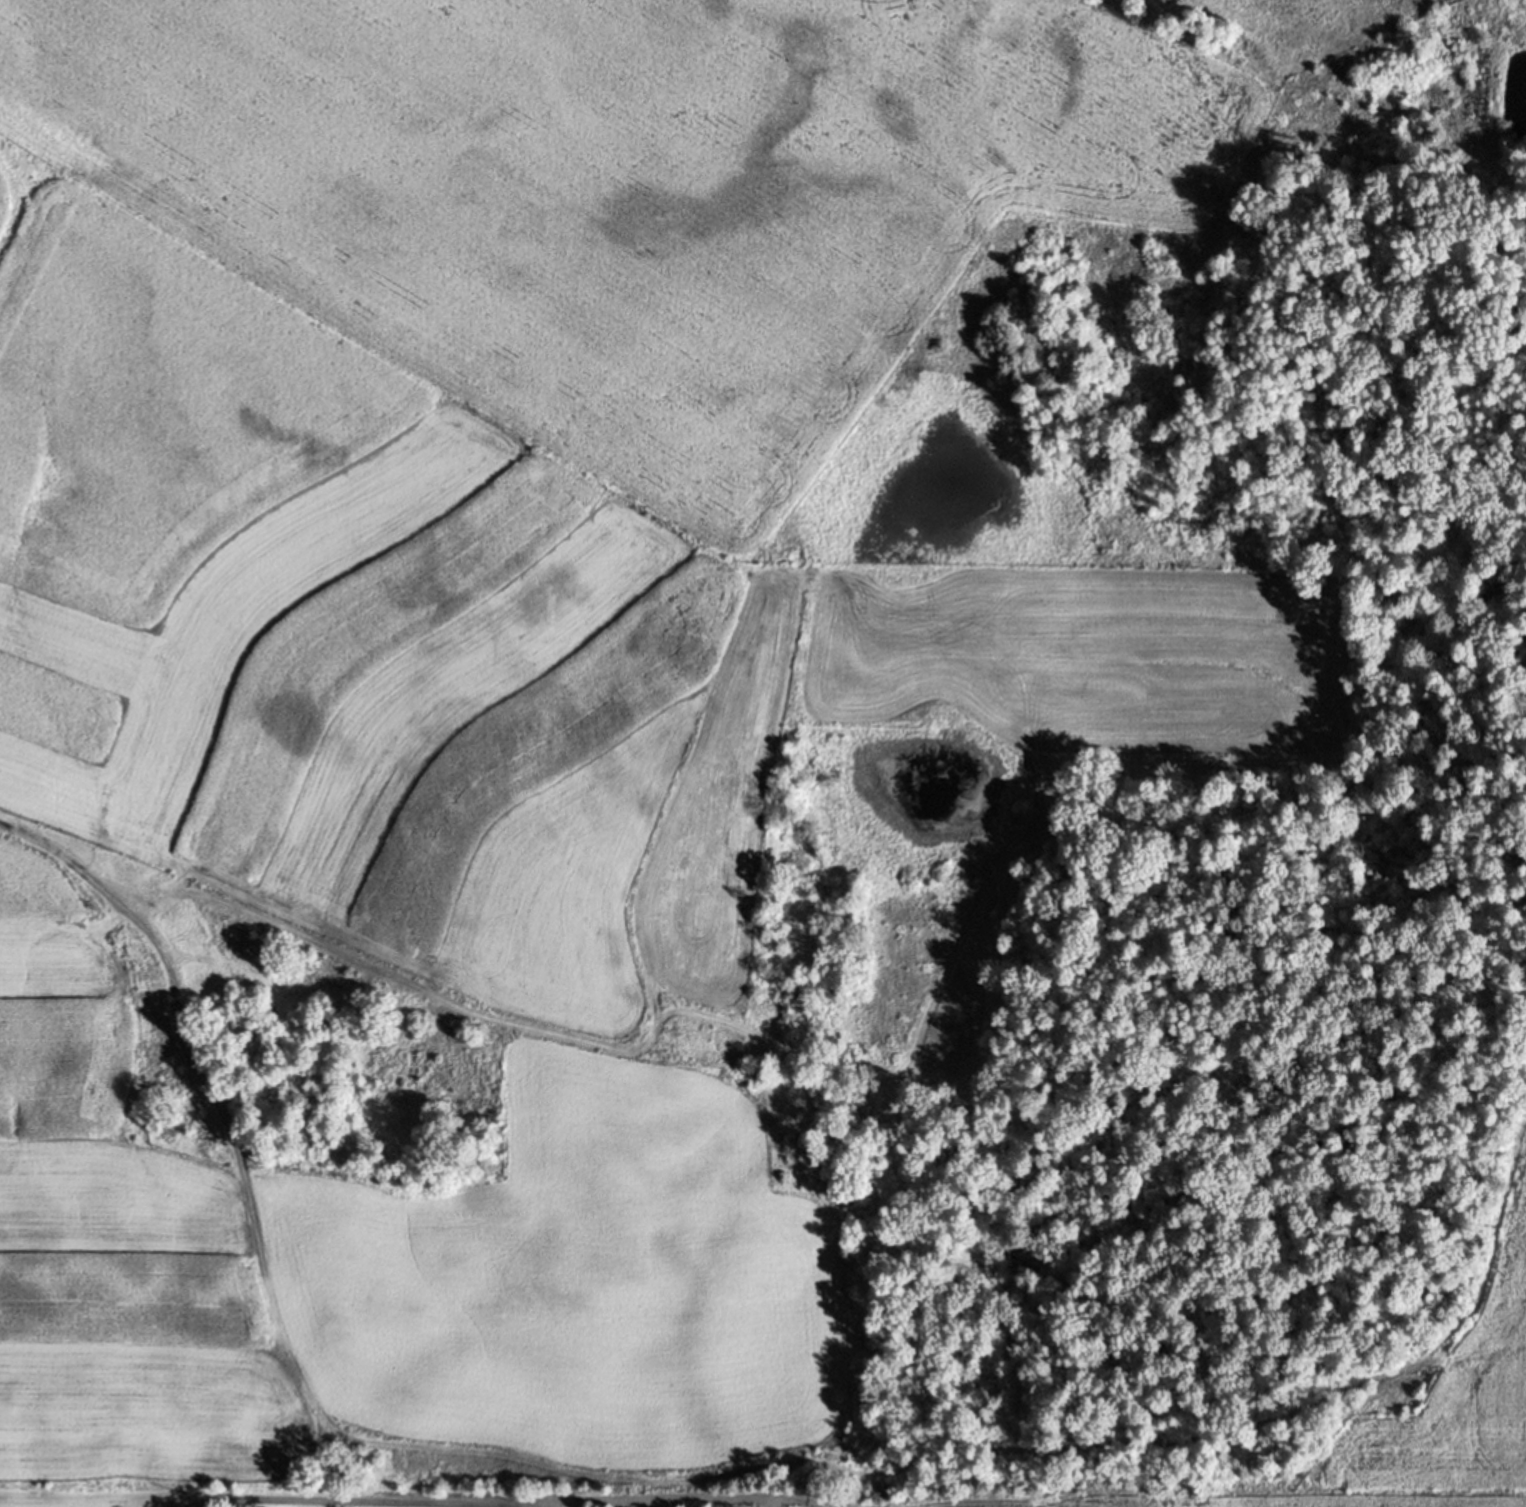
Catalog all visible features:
road: (659, 1497)
road: (338, 1502)

